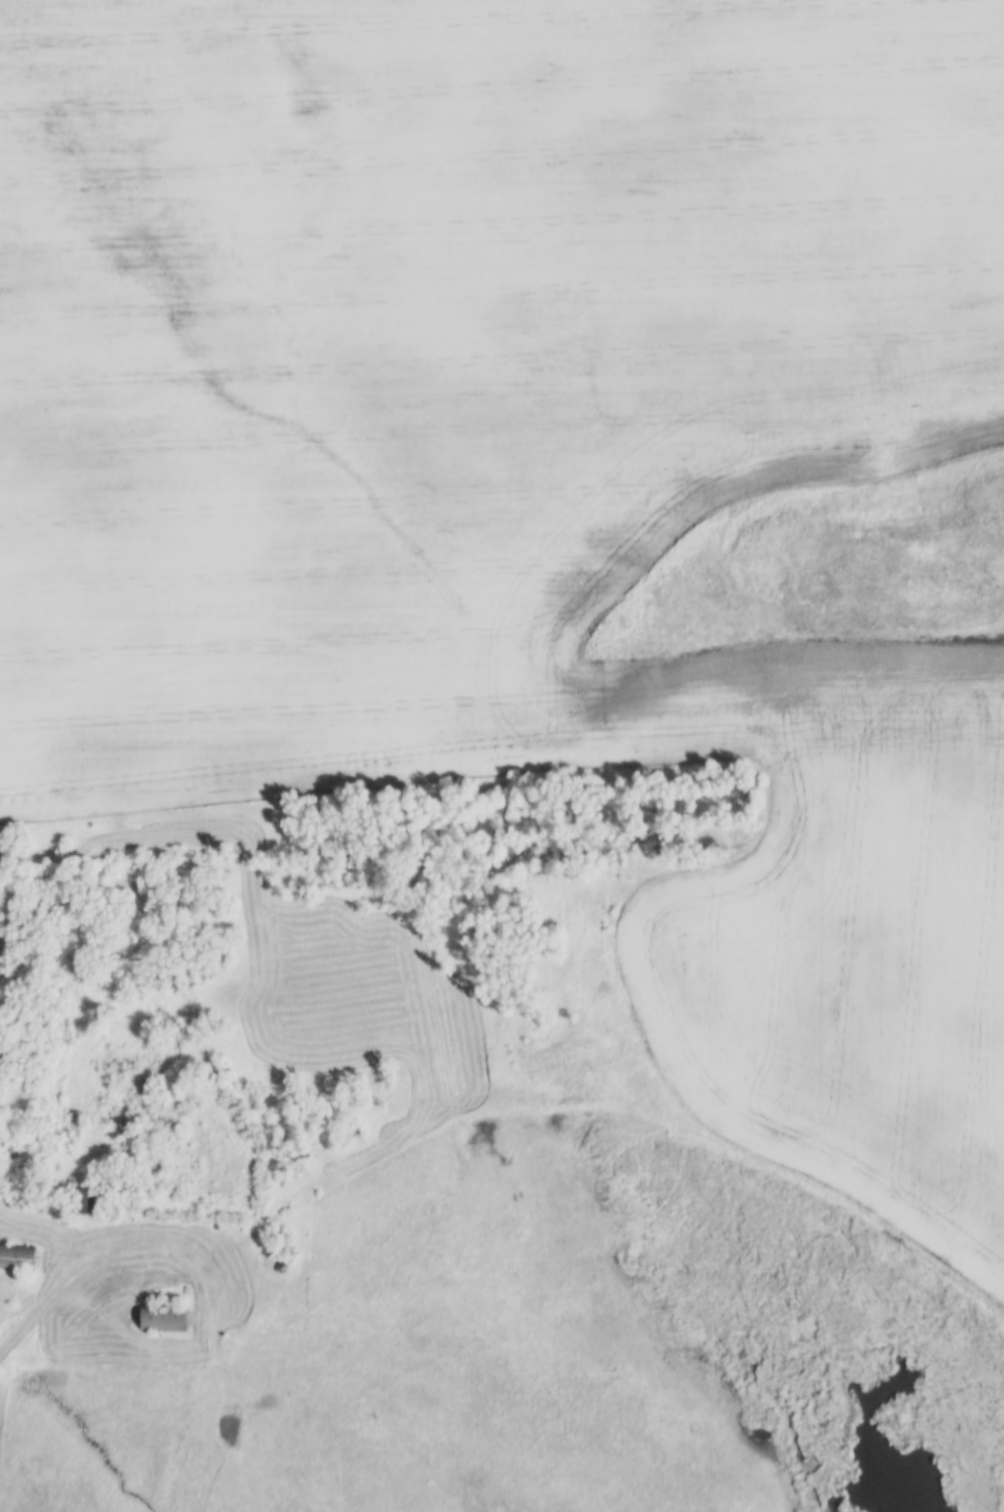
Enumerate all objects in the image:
building: (92, 1203)
building: (19, 1257)
road: (62, 1281)
building: (166, 1318)

